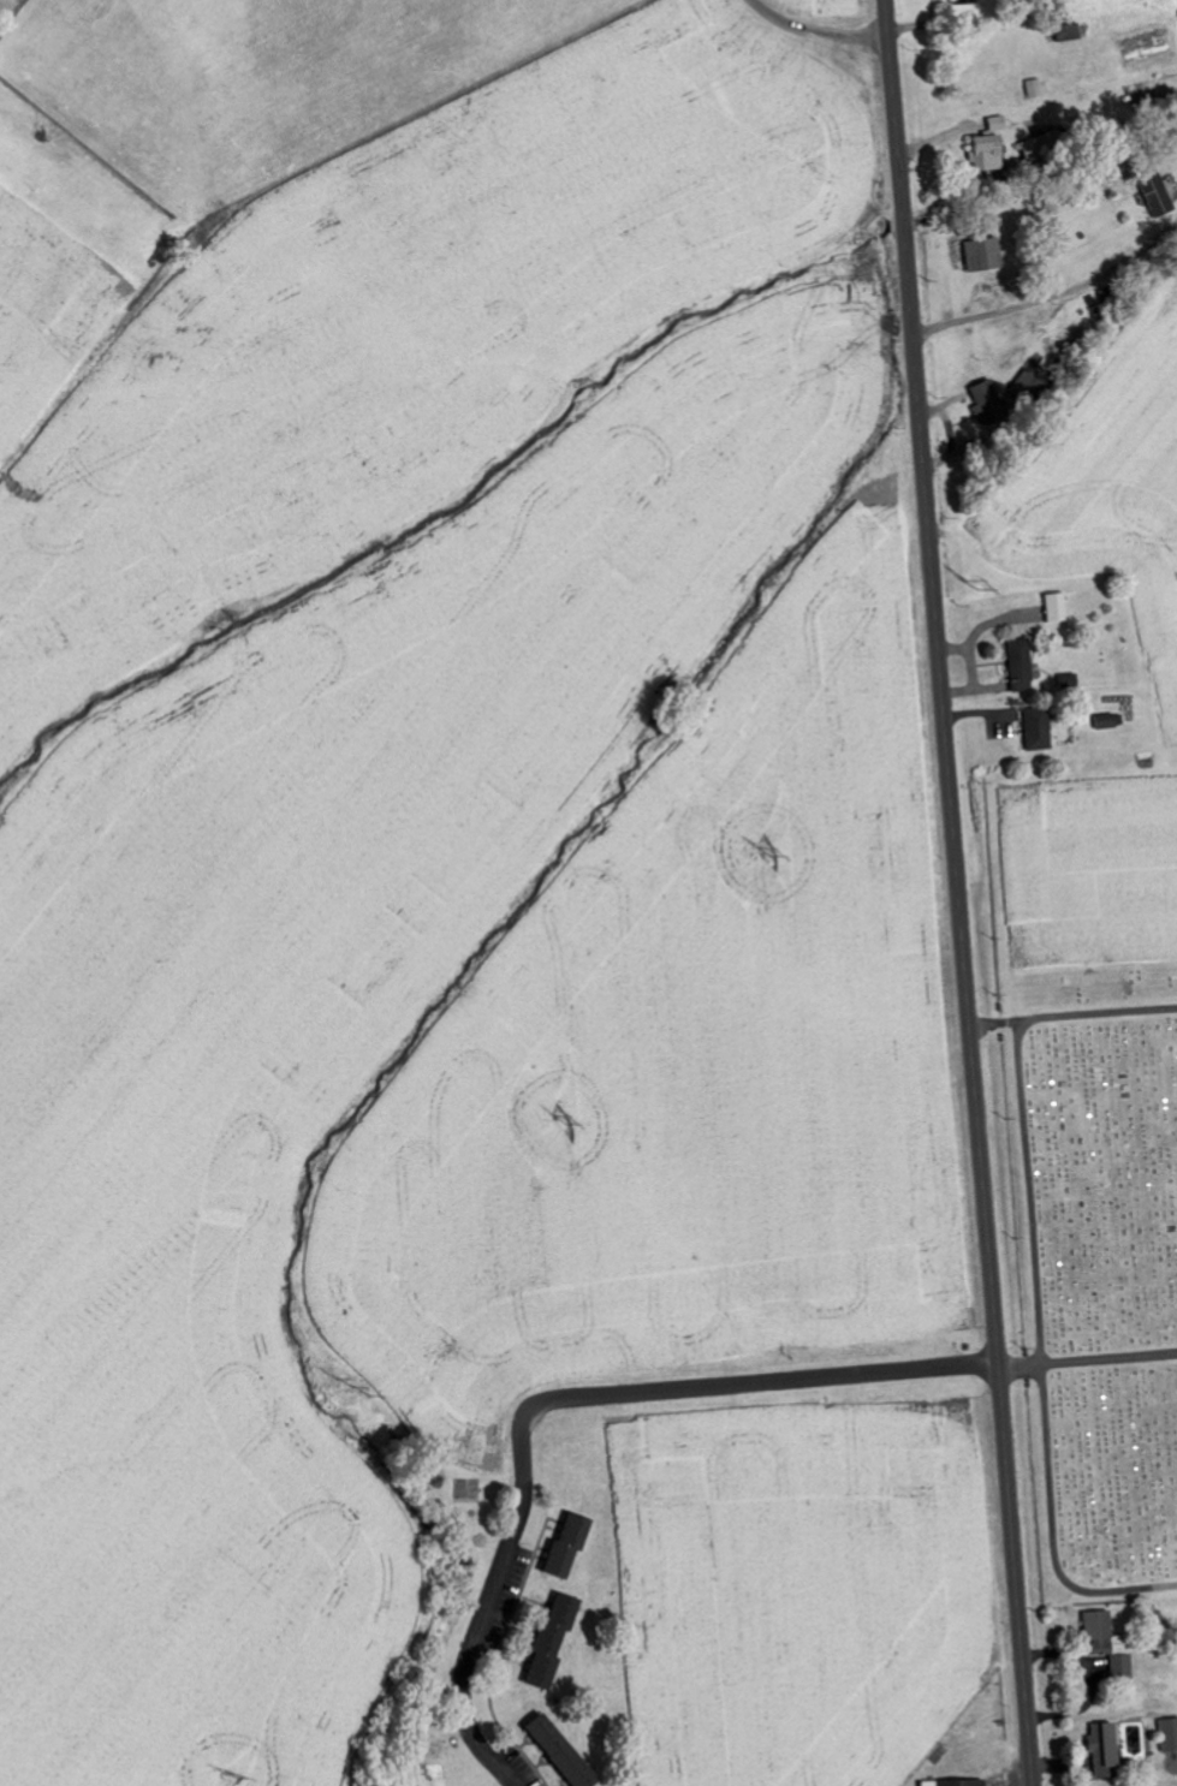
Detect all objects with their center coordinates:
road: (814, 31)
building: (1065, 32)
building: (1033, 88)
building: (994, 124)
building: (985, 154)
building: (1153, 191)
building: (980, 255)
building: (1023, 387)
building: (983, 400)
building: (1053, 608)
road: (117, 621)
building: (1017, 666)
building: (1034, 730)
road: (957, 893)
road: (1096, 1014)
road: (993, 1024)
park: (1098, 1268)
road: (1041, 1358)
road: (1087, 1359)
road: (780, 1379)
building: (563, 1546)
road: (492, 1585)
building: (1095, 1630)
building: (547, 1641)
building: (1118, 1657)
building: (1167, 1734)
building: (1099, 1750)
building: (559, 1751)
building: (951, 1782)

